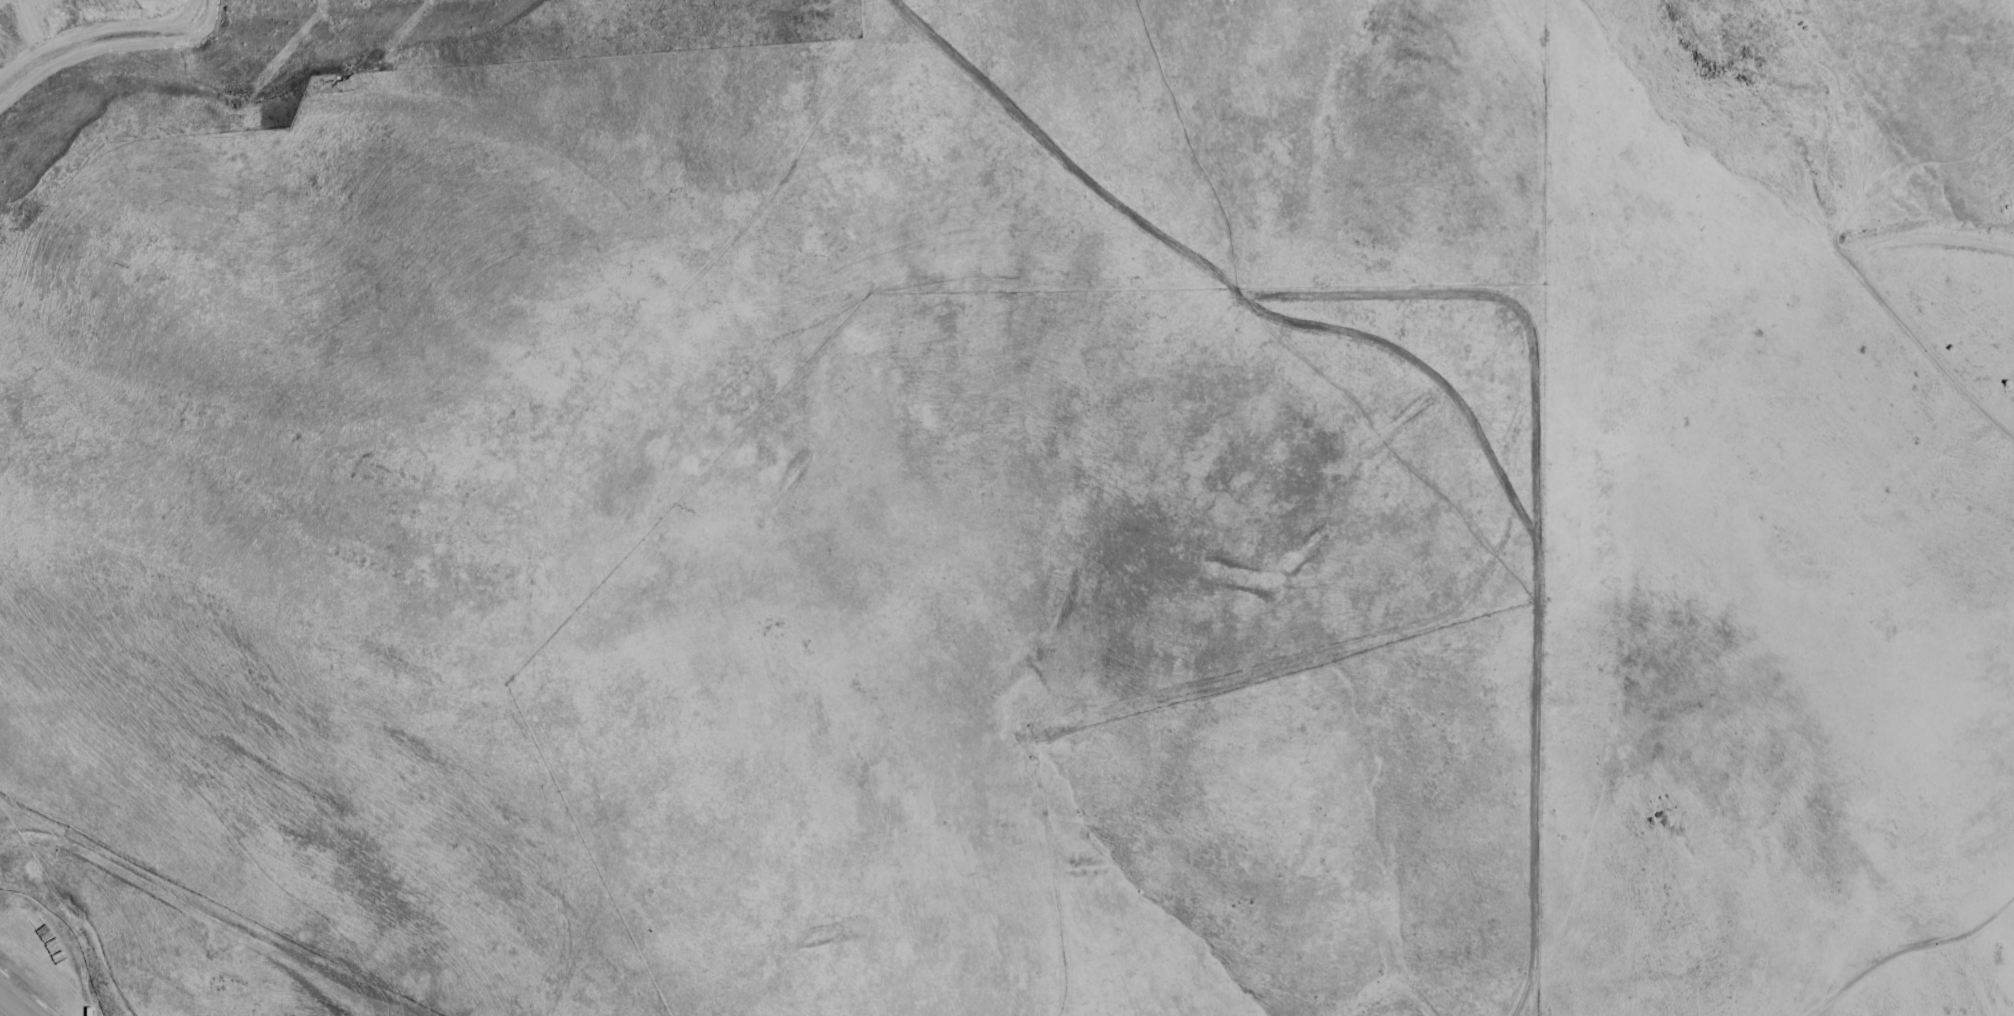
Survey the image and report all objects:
landfill: (198, 56)
road: (1834, 96)
road: (1902, 177)
road: (1871, 293)
road: (1908, 949)
landfill: (36, 964)

